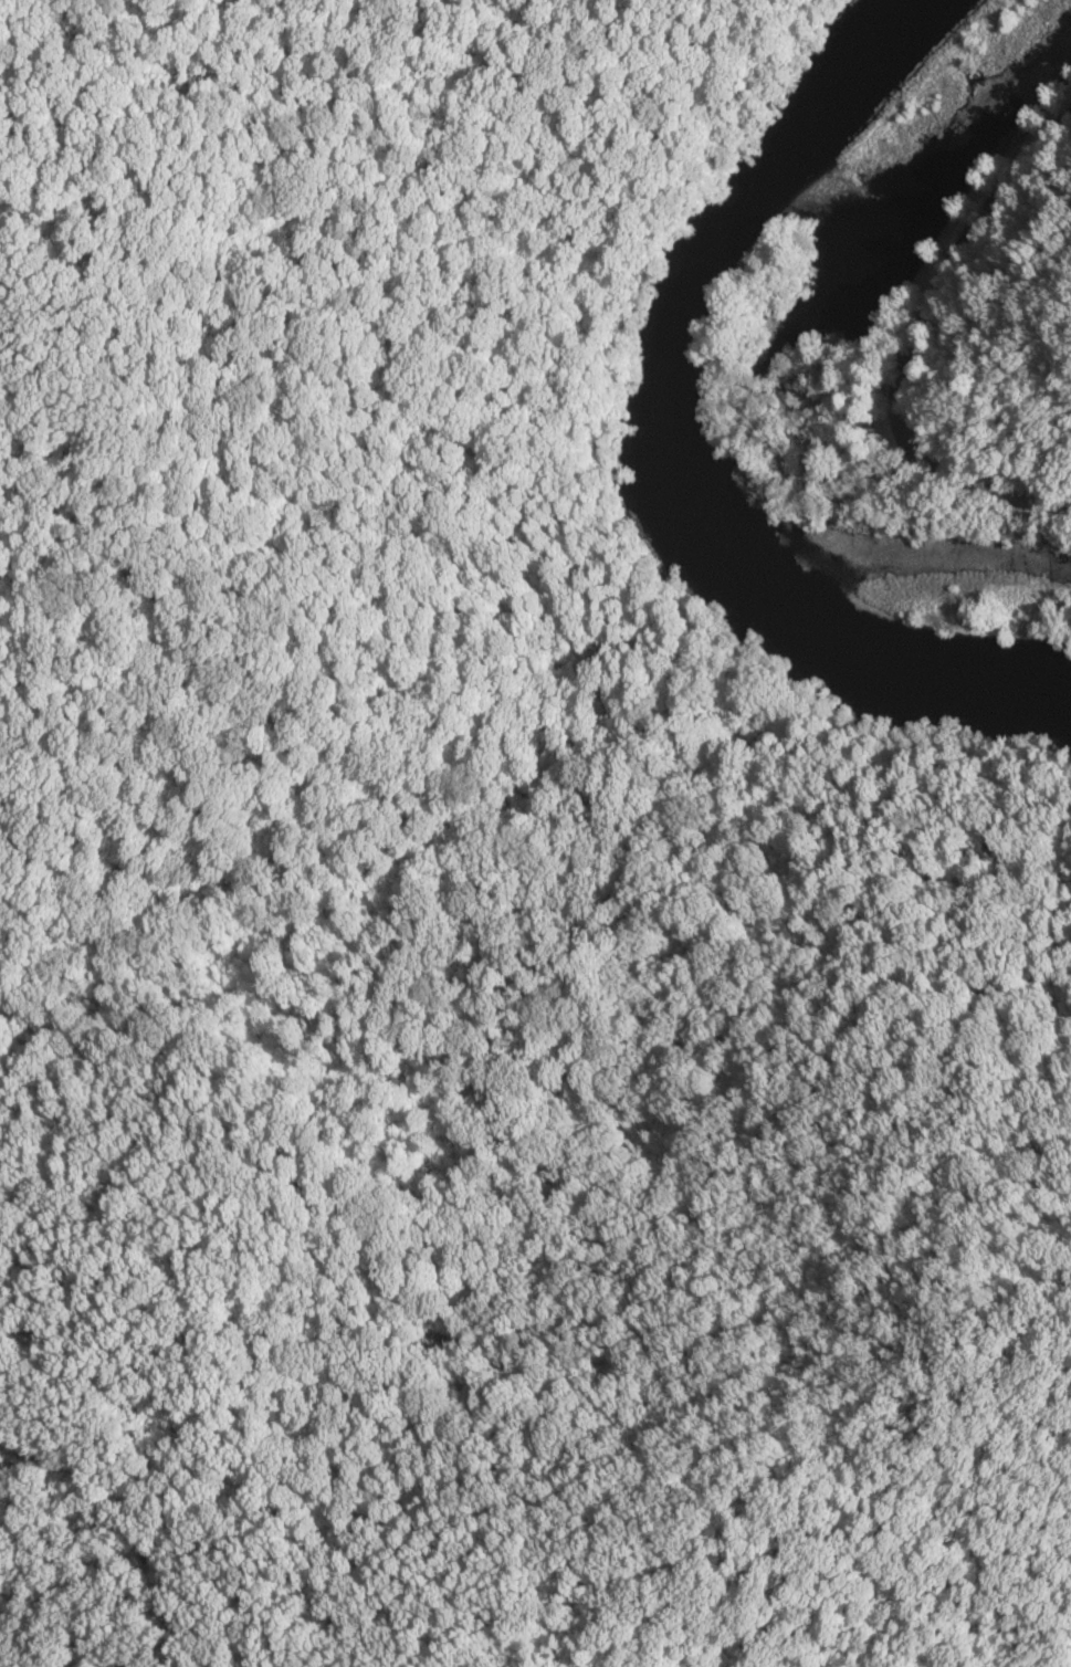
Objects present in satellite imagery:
road: (913, 331)
river: (678, 411)
road: (120, 1526)

